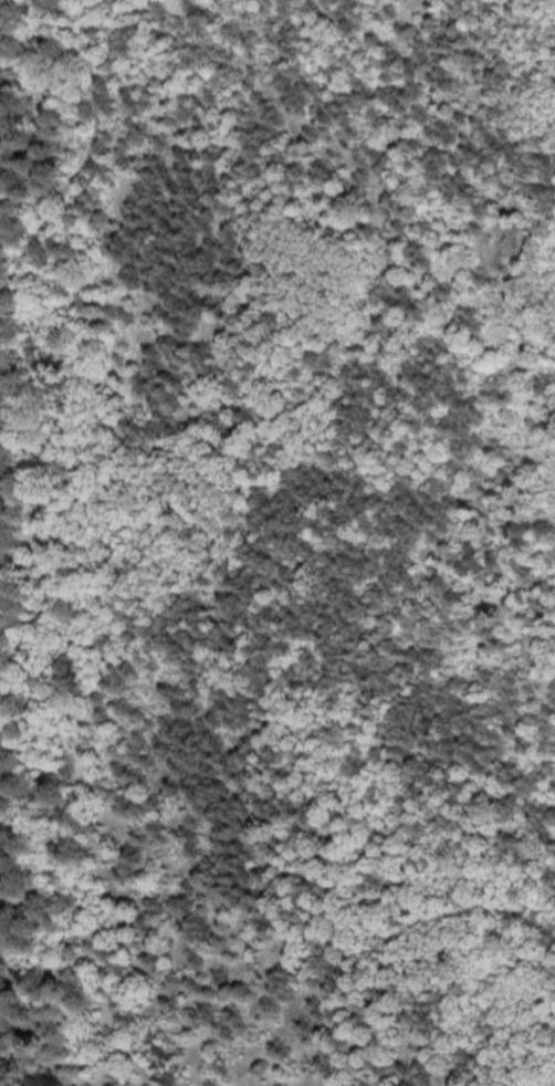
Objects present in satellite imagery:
road: (39, 539)

